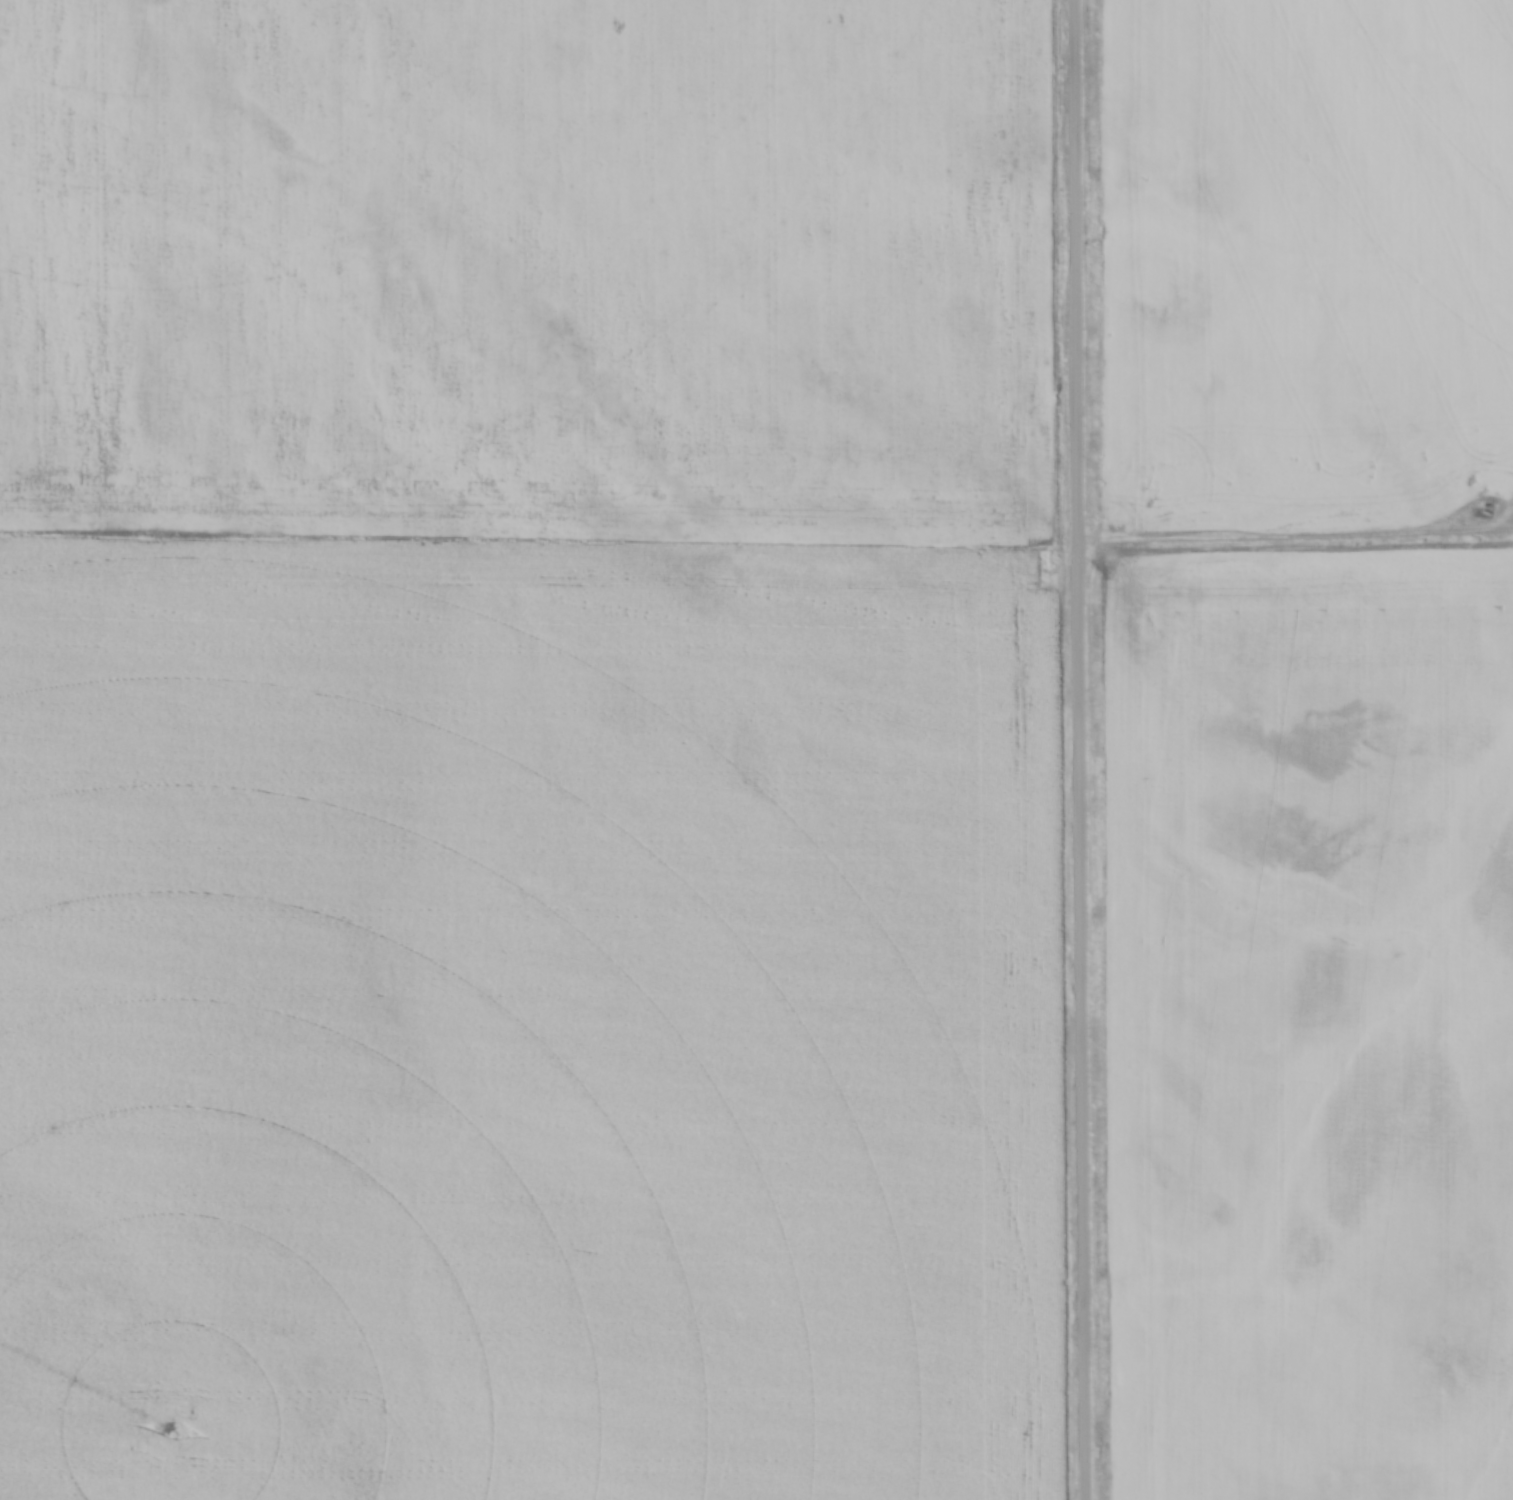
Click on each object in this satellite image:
road: (1080, 750)

